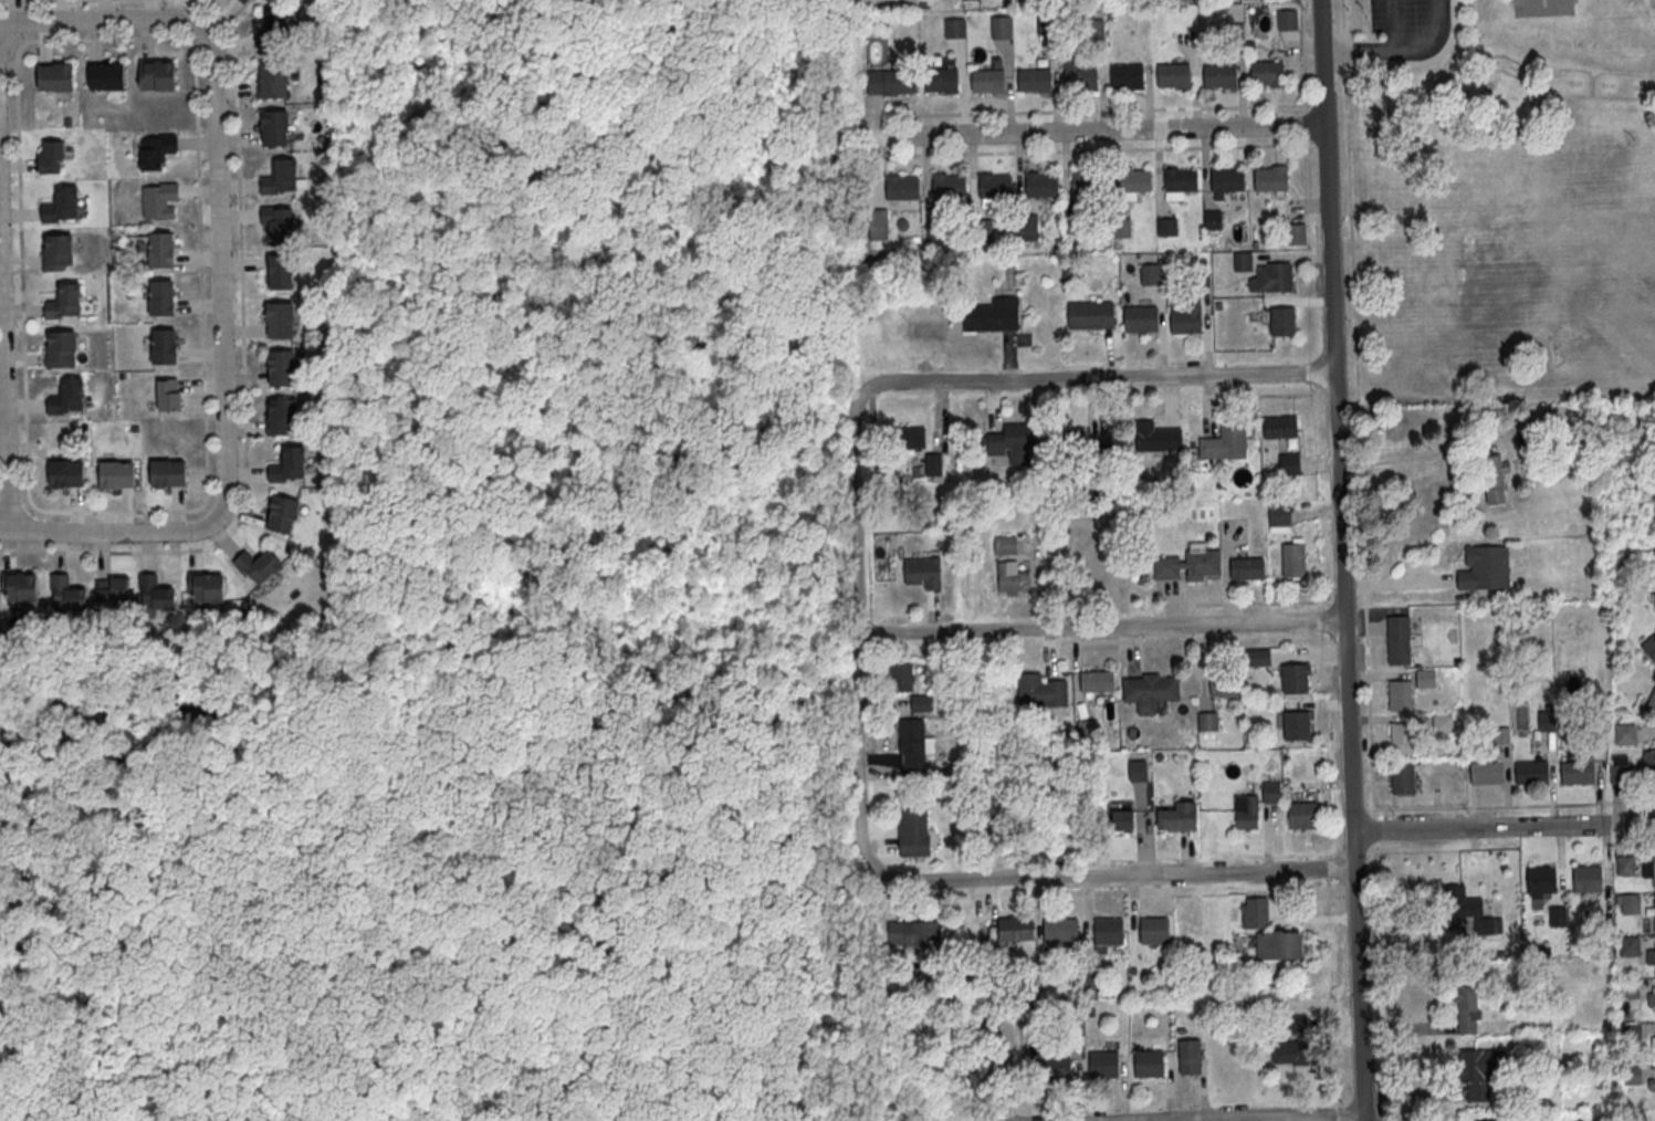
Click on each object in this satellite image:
road: (36, 0)
building: (243, 2)
parking lot: (1399, 17)
road: (106, 18)
building: (1287, 19)
road: (1392, 25)
building: (954, 27)
building: (1001, 27)
building: (273, 30)
road: (1399, 51)
road: (1303, 55)
road: (195, 62)
building: (1267, 72)
building: (157, 74)
building: (1127, 74)
building: (1173, 74)
building: (106, 75)
building: (1219, 75)
building: (55, 76)
building: (1080, 76)
building: (942, 77)
building: (1034, 78)
building: (987, 80)
building: (890, 81)
building: (274, 82)
road: (1082, 109)
road: (1307, 125)
building: (274, 129)
road: (1090, 129)
road: (1086, 149)
building: (51, 156)
building: (153, 156)
road: (1311, 172)
building: (281, 177)
building: (1270, 177)
building: (1134, 179)
building: (1225, 180)
building: (1083, 181)
building: (1179, 181)
building: (947, 184)
building: (1041, 184)
building: (995, 186)
building: (902, 187)
building: (159, 202)
building: (60, 205)
road: (1311, 205)
building: (1212, 219)
building: (878, 223)
building: (279, 224)
building: (1166, 226)
building: (1120, 227)
building: (1296, 232)
building: (57, 251)
building: (160, 252)
building: (1243, 261)
building: (281, 273)
building: (1151, 274)
road: (221, 276)
building: (1271, 277)
building: (63, 301)
building: (161, 301)
building: (992, 316)
building: (1090, 316)
building: (1282, 319)
building: (1141, 321)
building: (280, 322)
building: (1185, 323)
building: (60, 349)
building: (164, 349)
road: (3, 366)
building: (282, 371)
road: (1277, 374)
road: (244, 378)
road: (1038, 380)
building: (65, 397)
building: (169, 397)
road: (1358, 409)
road: (1334, 416)
building: (282, 418)
building: (1279, 426)
building: (1156, 438)
building: (903, 440)
building: (1014, 443)
building: (1225, 444)
road: (1437, 449)
building: (933, 463)
building: (289, 467)
building: (168, 475)
building: (65, 476)
building: (117, 478)
building: (1496, 479)
building: (282, 516)
building: (1279, 517)
road: (108, 531)
building: (1005, 545)
building: (1293, 562)
building: (1203, 565)
building: (258, 566)
building: (1247, 570)
building: (1486, 570)
building: (923, 574)
building: (1008, 578)
building: (22, 590)
building: (208, 590)
building: (113, 593)
building: (67, 596)
building: (156, 596)
road: (1100, 628)
road: (857, 632)
building: (1399, 641)
building: (1649, 647)
building: (1257, 657)
building: (902, 675)
building: (1293, 681)
building: (1098, 683)
building: (1040, 692)
building: (1150, 693)
building: (1400, 696)
building: (920, 702)
building: (1651, 703)
building: (1207, 721)
building: (1546, 721)
building: (1297, 726)
building: (1624, 733)
building: (1403, 741)
building: (913, 743)
building: (1648, 759)
building: (1620, 768)
building: (1532, 774)
building: (1487, 775)
building: (1578, 775)
building: (1403, 780)
building: (1271, 792)
building: (994, 798)
road: (1515, 806)
building: (1247, 814)
building: (1302, 817)
building: (1122, 819)
building: (1179, 819)
road: (1502, 827)
building: (912, 828)
building: (1624, 863)
road: (1112, 873)
building: (1654, 874)
building: (1588, 878)
building: (1542, 879)
road: (1353, 880)
building: (1654, 910)
building: (1467, 913)
road: (1413, 928)
building: (1015, 929)
building: (1060, 929)
building: (1154, 930)
building: (1109, 931)
building: (913, 932)
building: (1269, 932)
building: (1630, 946)
building: (1651, 953)
road: (1375, 968)
building: (1630, 989)
building: (1651, 996)
building: (1467, 1009)
road: (1359, 1025)
building: (1631, 1030)
building: (1293, 1044)
building: (1654, 1044)
building: (1191, 1057)
building: (1149, 1062)
building: (1103, 1065)
building: (1052, 1069)
building: (1479, 1070)
building: (1632, 1076)
building: (1652, 1083)
road: (1285, 1118)

